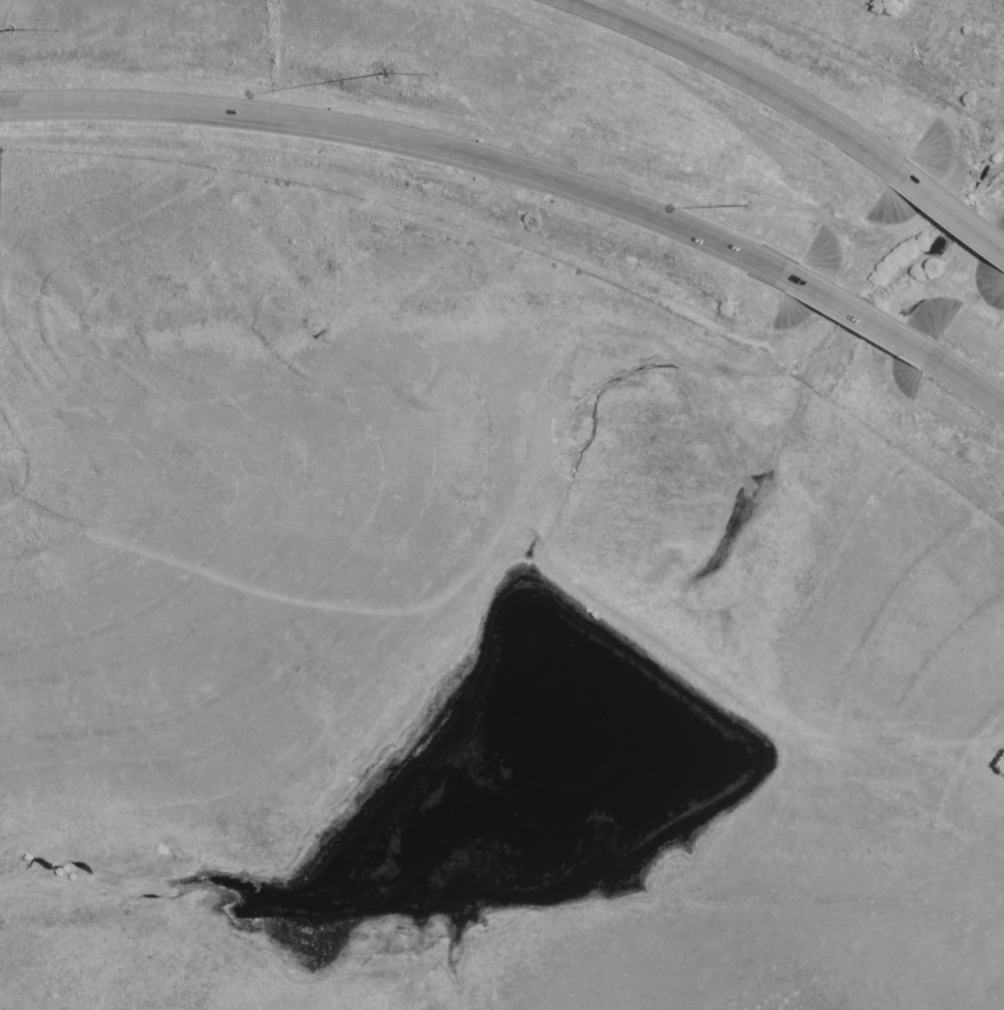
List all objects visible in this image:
road: (732, 72)
road: (404, 142)
road: (946, 212)
road: (860, 315)
road: (968, 382)

